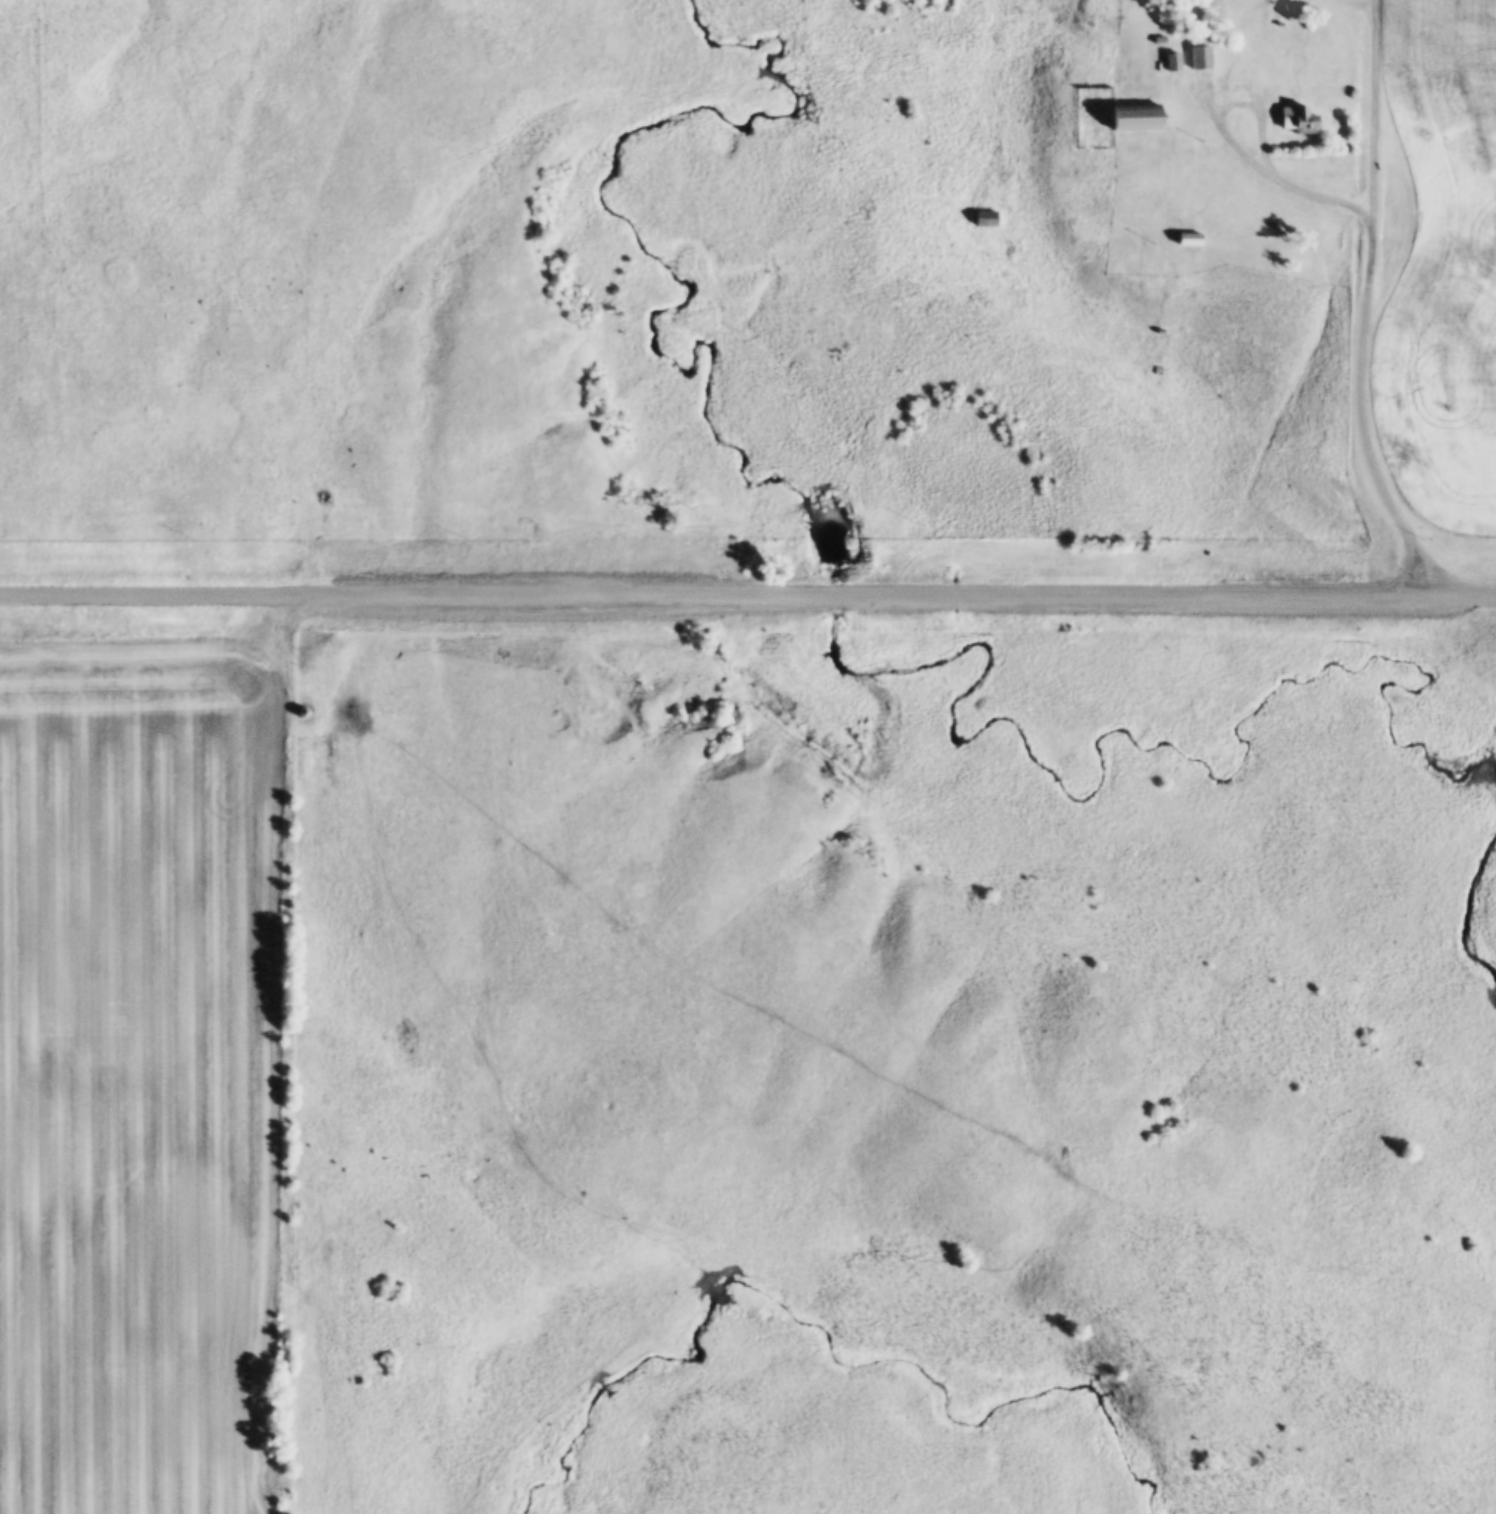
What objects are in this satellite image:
building: (1204, 57)
road: (1376, 111)
building: (1136, 117)
building: (1302, 119)
building: (982, 218)
building: (1190, 238)
road: (1367, 291)
road: (747, 591)

